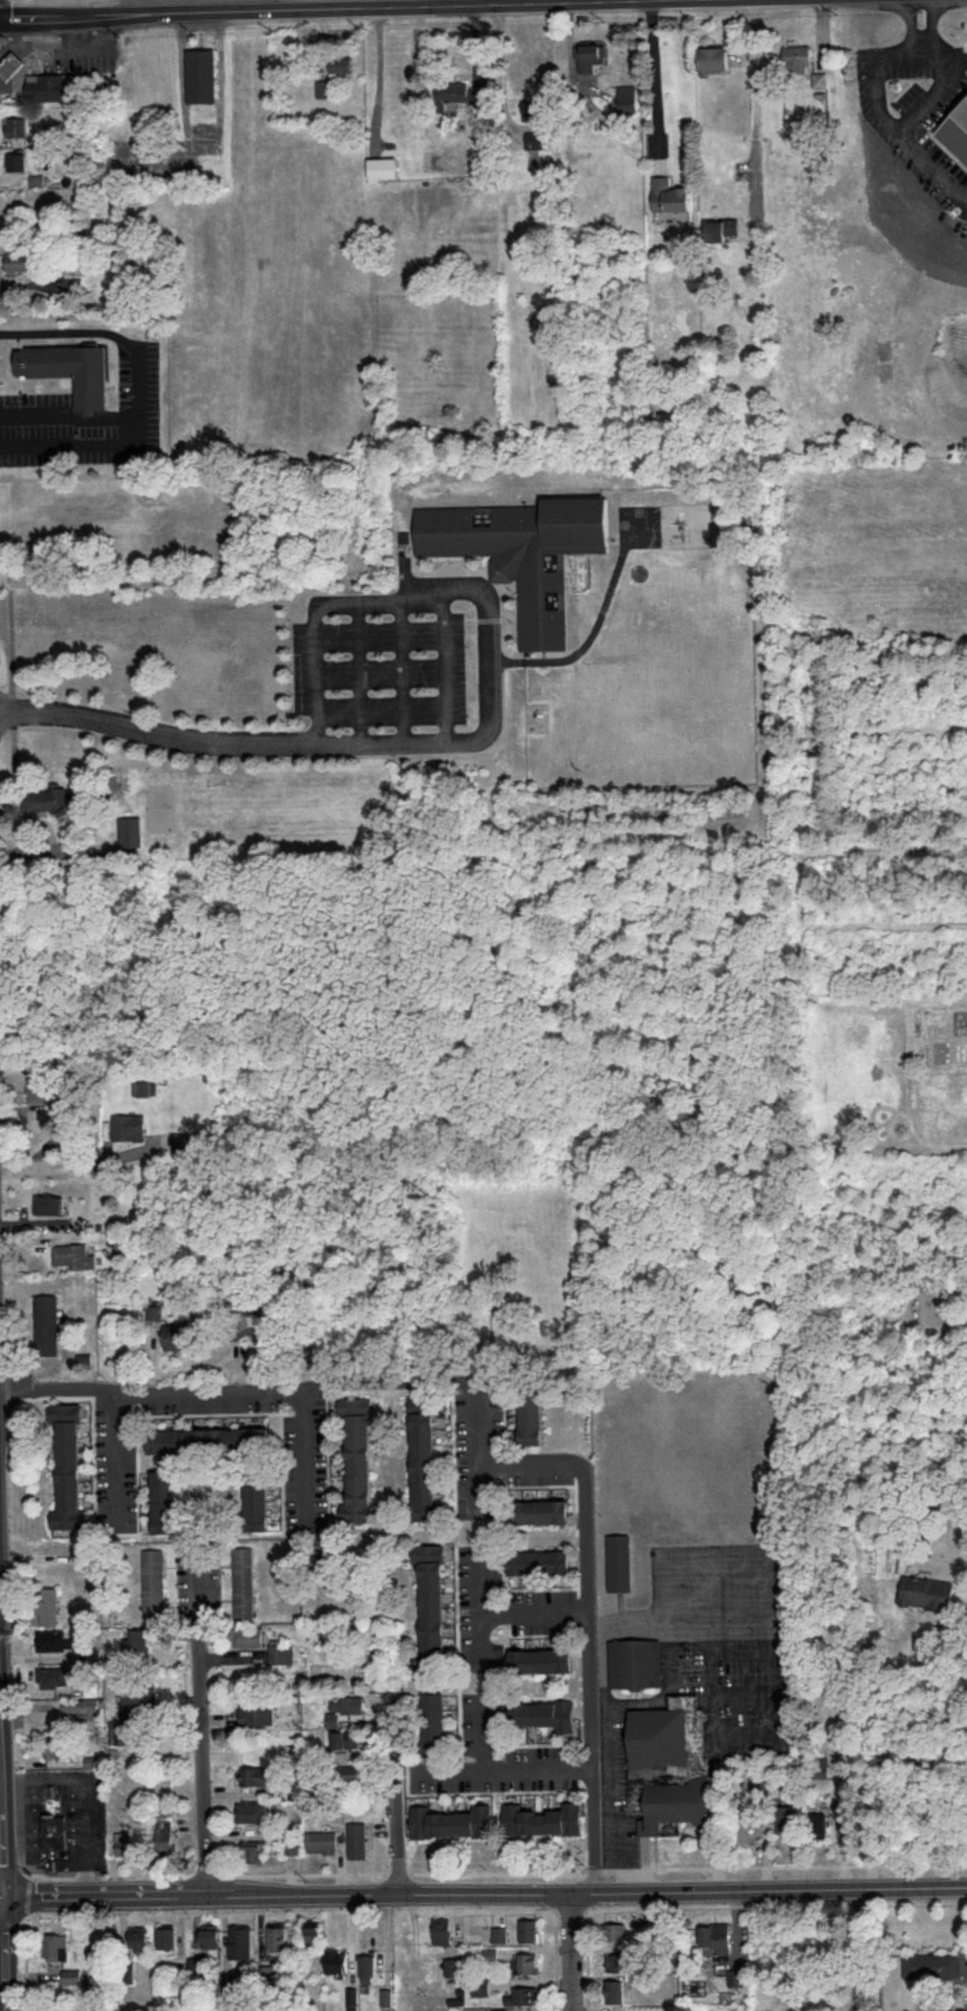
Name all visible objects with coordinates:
road: (138, 6)
road: (192, 6)
road: (326, 8)
road: (906, 36)
road: (69, 49)
building: (590, 56)
road: (31, 57)
building: (798, 57)
building: (713, 58)
road: (502, 63)
building: (10, 64)
building: (340, 65)
building: (201, 75)
road: (931, 77)
building: (820, 79)
road: (656, 83)
building: (52, 87)
building: (323, 88)
building: (461, 92)
building: (627, 98)
building: (529, 109)
road: (878, 117)
road: (755, 121)
building: (15, 127)
building: (956, 131)
building: (538, 139)
building: (16, 161)
building: (382, 169)
building: (669, 195)
building: (721, 230)
building: (22, 261)
building: (71, 370)
road: (140, 389)
road: (70, 415)
building: (522, 552)
road: (12, 640)
road: (358, 671)
road: (315, 680)
road: (14, 712)
road: (406, 741)
road: (293, 755)
building: (47, 799)
building: (129, 831)
road: (18, 847)
road: (298, 1026)
building: (140, 1088)
building: (37, 1089)
building: (127, 1127)
building: (182, 1139)
road: (76, 1160)
building: (48, 1204)
building: (123, 1244)
building: (73, 1256)
road: (943, 1322)
building: (46, 1324)
building: (254, 1327)
building: (176, 1336)
road: (265, 1391)
building: (529, 1411)
road: (462, 1417)
building: (358, 1420)
building: (423, 1433)
building: (358, 1439)
building: (209, 1440)
road: (117, 1454)
road: (306, 1456)
building: (358, 1461)
building: (68, 1465)
road: (575, 1470)
building: (424, 1478)
road: (537, 1484)
road: (475, 1485)
road: (486, 1485)
building: (360, 1487)
building: (164, 1501)
building: (257, 1502)
building: (536, 1510)
road: (576, 1535)
building: (427, 1551)
building: (537, 1561)
building: (619, 1562)
building: (430, 1575)
building: (243, 1581)
building: (153, 1583)
road: (534, 1588)
road: (457, 1589)
road: (483, 1589)
building: (925, 1592)
building: (430, 1604)
building: (49, 1606)
road: (477, 1609)
road: (578, 1609)
road: (533, 1616)
road: (589, 1625)
building: (431, 1634)
building: (247, 1636)
building: (55, 1640)
building: (136, 1644)
building: (281, 1652)
building: (541, 1660)
building: (634, 1662)
building: (53, 1677)
road: (579, 1683)
building: (345, 1708)
building: (80, 1709)
building: (257, 1712)
building: (544, 1713)
building: (134, 1714)
building: (434, 1723)
road: (479, 1734)
building: (347, 1739)
road: (540, 1743)
road: (0, 1744)
building: (57, 1747)
road: (889, 1749)
road: (202, 1756)
road: (582, 1761)
building: (668, 1765)
road: (461, 1766)
building: (818, 1767)
road: (503, 1769)
building: (351, 1772)
parking lot: (512, 1772)
building: (255, 1776)
road: (497, 1791)
road: (90, 1793)
road: (395, 1796)
building: (251, 1811)
building: (542, 1819)
building: (785, 1821)
building: (451, 1822)
building: (819, 1824)
building: (53, 1831)
road: (2, 1836)
building: (357, 1839)
building: (164, 1840)
building: (321, 1841)
building: (124, 1842)
building: (290, 1845)
building: (254, 1850)
road: (655, 1852)
road: (809, 1864)
road: (618, 1868)
road: (398, 1872)
road: (307, 1873)
road: (542, 1873)
road: (207, 1874)
road: (13, 1875)
road: (29, 1875)
road: (108, 1876)
road: (554, 1877)
road: (608, 1890)
road: (126, 1892)
road: (554, 1895)
road: (27, 1896)
road: (2, 1898)
traffic signals: (4, 1898)
road: (776, 1905)
road: (570, 1910)
road: (528, 1911)
road: (11, 1922)
road: (24, 1922)
building: (441, 1930)
building: (528, 1930)
building: (615, 1931)
building: (310, 1933)
building: (499, 1933)
building: (166, 1937)
building: (210, 1937)
building: (276, 1938)
building: (714, 1938)
building: (139, 1939)
building: (240, 1941)
building: (55, 1947)
road: (856, 1947)
road: (570, 1951)
road: (6, 1954)
building: (490, 1955)
road: (586, 1960)
building: (336, 1961)
road: (556, 1961)
building: (617, 1962)
road: (26, 1963)
building: (528, 1963)
building: (933, 1965)
building: (367, 1966)
building: (453, 1967)
building: (71, 1975)
building: (478, 1987)
building: (613, 1990)
building: (523, 1996)
building: (351, 1999)

